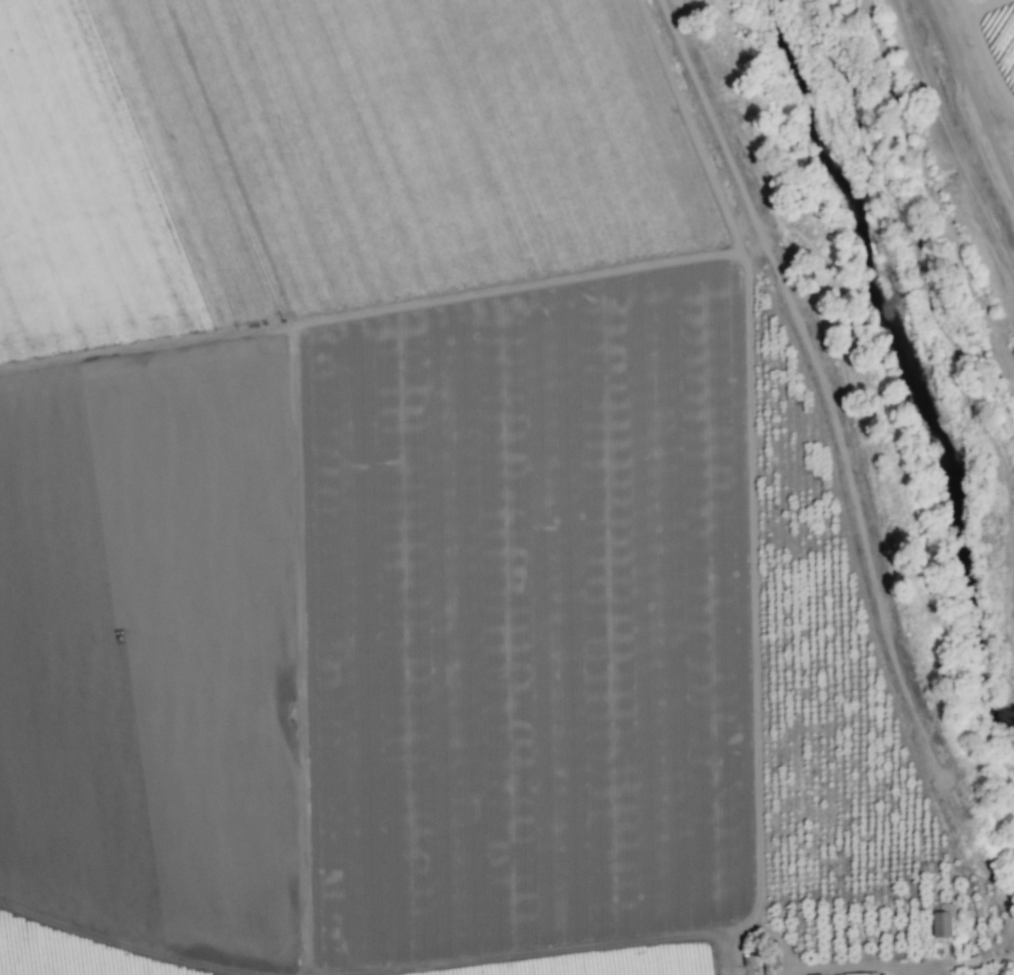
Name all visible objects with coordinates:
road: (949, 12)
crop: (906, 40)
road: (978, 41)
river: (969, 382)
crop: (431, 524)
building: (942, 920)
road: (861, 966)
building: (857, 973)

